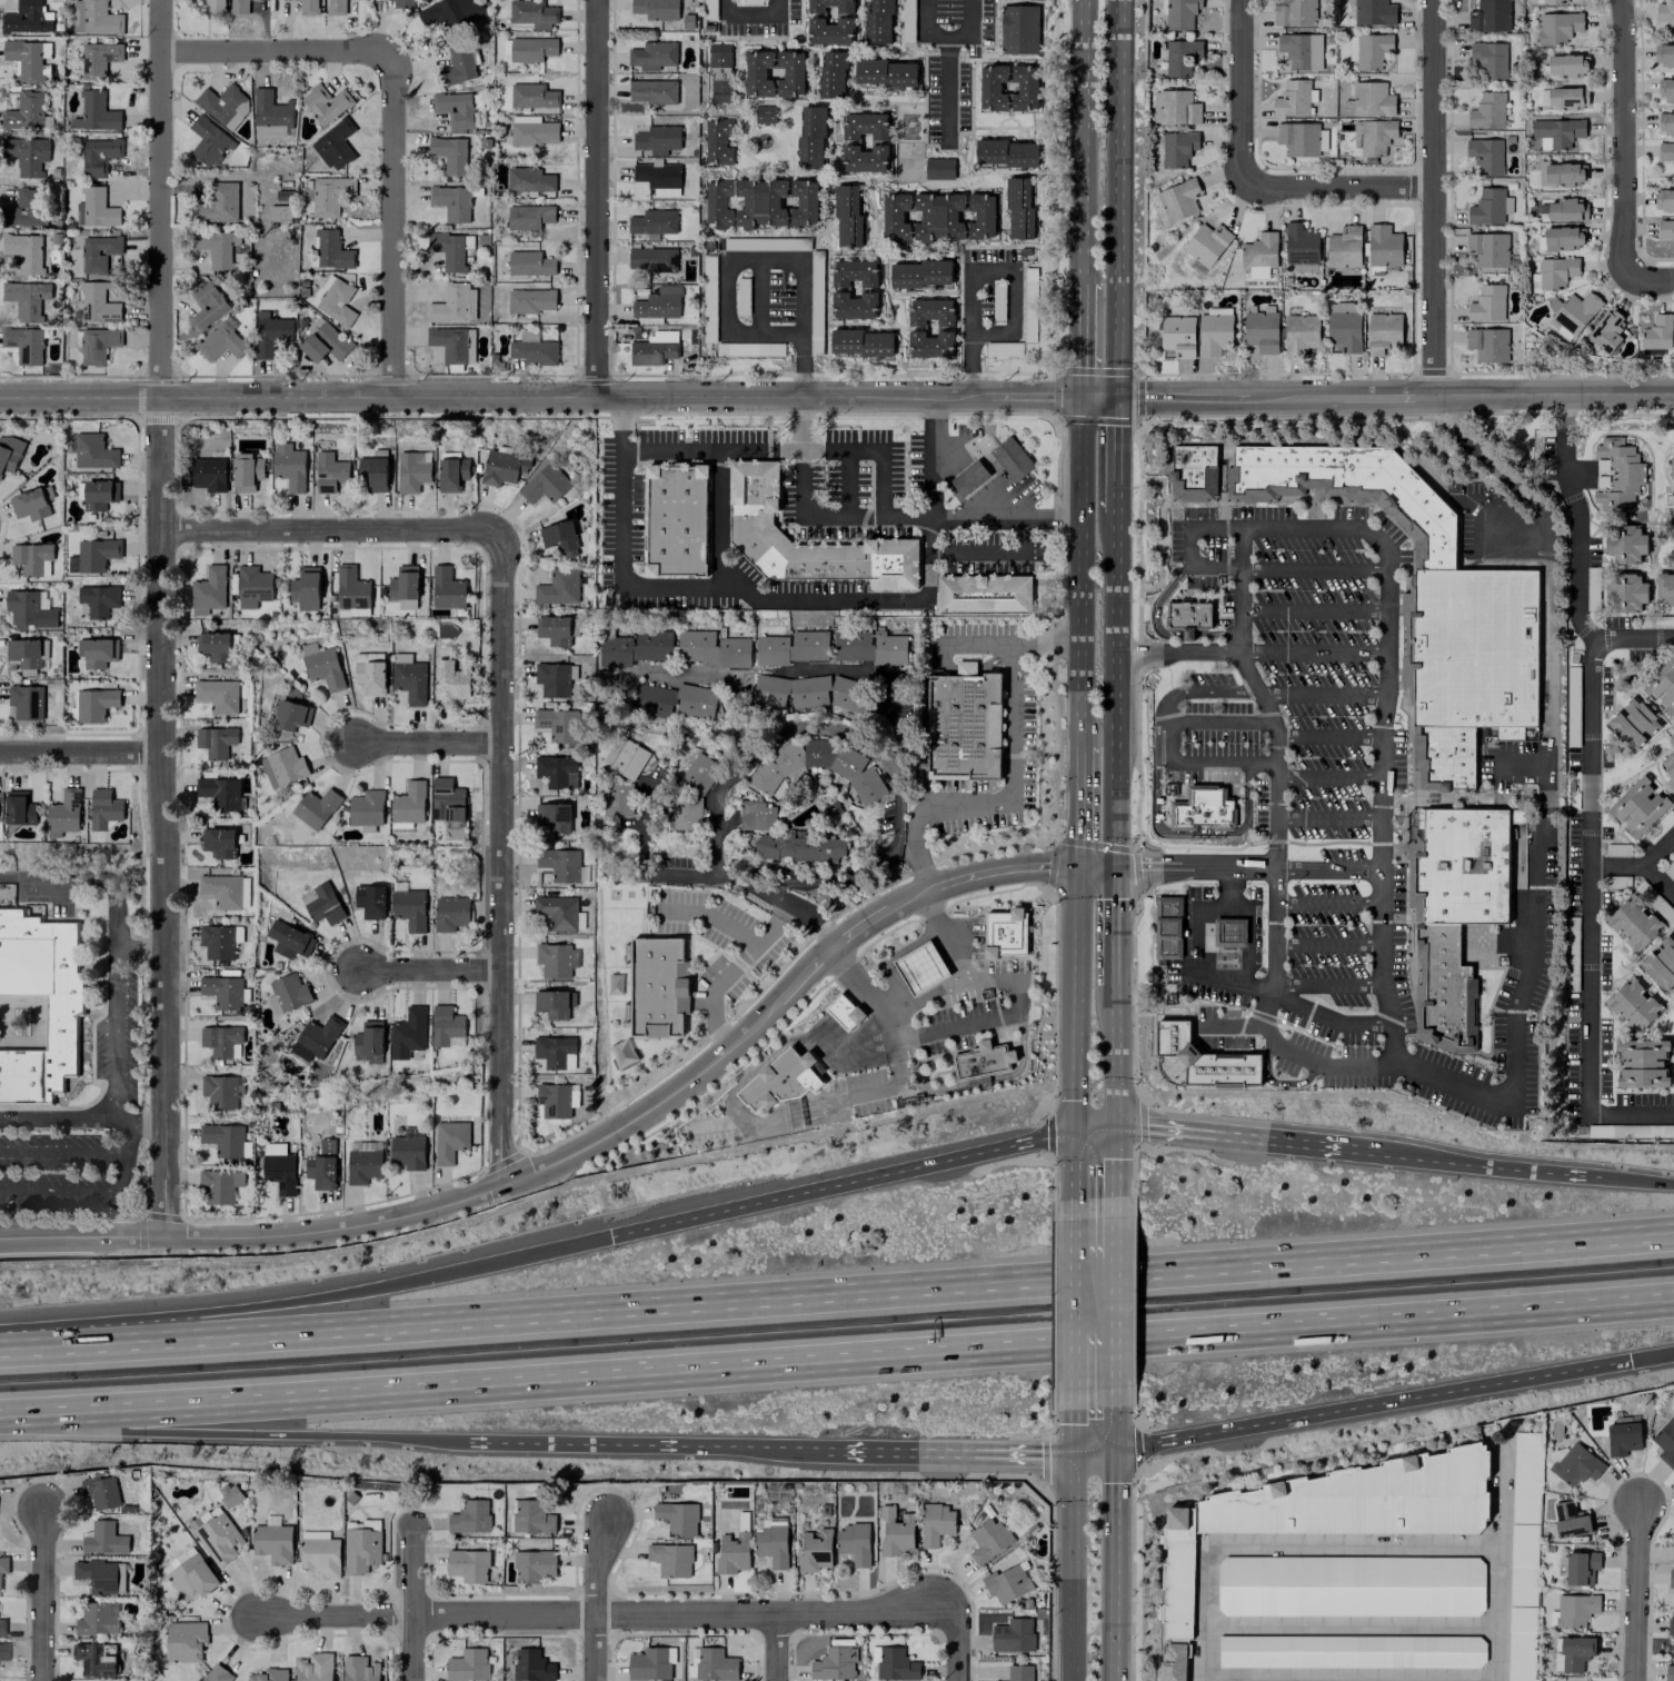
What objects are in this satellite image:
building: (1551, 1)
building: (402, 3)
building: (215, 6)
building: (238, 6)
building: (308, 7)
building: (336, 7)
building: (655, 9)
building: (1294, 12)
building: (1373, 12)
road: (751, 13)
building: (1180, 13)
building: (1665, 13)
building: (451, 14)
building: (531, 14)
building: (1487, 14)
building: (27, 18)
building: (94, 18)
building: (844, 20)
building: (878, 21)
building: (1558, 27)
building: (1018, 29)
road: (947, 33)
building: (1352, 48)
building: (1301, 49)
building: (1372, 49)
road: (277, 52)
building: (1664, 53)
building: (652, 54)
building: (1180, 57)
building: (24, 58)
building: (98, 58)
building: (1488, 58)
building: (457, 64)
building: (1565, 64)
building: (720, 72)
building: (885, 72)
building: (774, 73)
building: (833, 74)
building: (1008, 87)
building: (1665, 88)
building: (652, 91)
road: (946, 91)
road: (1239, 93)
building: (530, 96)
building: (1564, 97)
building: (1294, 98)
building: (1372, 99)
building: (325, 102)
building: (223, 103)
building: (1177, 107)
building: (454, 109)
building: (1487, 110)
building: (23, 111)
building: (96, 112)
building: (1666, 122)
building: (532, 130)
building: (1556, 132)
building: (810, 135)
building: (1375, 136)
building: (1302, 138)
road: (1622, 138)
building: (657, 139)
road: (1082, 140)
building: (208, 141)
building: (717, 141)
building: (878, 143)
building: (335, 145)
building: (1175, 148)
building: (1005, 152)
building: (1666, 152)
building: (26, 153)
building: (449, 153)
building: (1485, 153)
building: (98, 156)
building: (938, 168)
building: (657, 173)
building: (1561, 173)
building: (528, 179)
road: (1338, 186)
building: (329, 195)
road: (1432, 198)
road: (1116, 199)
building: (1178, 199)
building: (1663, 199)
road: (591, 200)
building: (451, 202)
building: (218, 203)
building: (760, 203)
building: (1488, 207)
building: (23, 208)
building: (96, 208)
building: (1020, 208)
building: (1565, 210)
building: (280, 212)
building: (528, 216)
building: (848, 216)
building: (937, 216)
building: (652, 221)
road: (390, 225)
building: (1665, 230)
building: (1561, 238)
building: (1206, 243)
building: (1383, 246)
building: (1301, 247)
building: (1344, 247)
building: (217, 249)
building: (330, 249)
building: (1487, 249)
building: (27, 250)
building: (448, 251)
building: (98, 252)
building: (1259, 255)
building: (651, 259)
road: (759, 261)
building: (529, 263)
road: (976, 271)
building: (1556, 271)
building: (920, 273)
road: (1650, 279)
building: (868, 288)
road: (759, 297)
building: (27, 299)
building: (816, 299)
building: (1029, 299)
building: (337, 300)
building: (530, 300)
building: (97, 304)
building: (449, 304)
building: (1487, 304)
building: (207, 306)
building: (657, 306)
building: (1575, 311)
building: (944, 326)
building: (1261, 330)
building: (1344, 330)
building: (1606, 330)
building: (1301, 332)
building: (1383, 332)
building: (270, 334)
building: (1177, 335)
building: (1213, 335)
building: (1656, 335)
road: (1082, 339)
building: (221, 340)
building: (323, 341)
building: (861, 342)
building: (23, 344)
building: (449, 344)
building: (1487, 344)
building: (97, 345)
building: (654, 348)
building: (534, 351)
road: (1552, 394)
road: (1226, 397)
road: (1384, 397)
traffic signals: (1080, 398)
road: (1098, 398)
traffic signals: (1117, 398)
road: (539, 399)
building: (94, 450)
building: (9, 451)
road: (760, 451)
road: (1115, 454)
building: (1012, 459)
gas station: (1012, 459)
road: (846, 461)
building: (288, 466)
building: (501, 467)
building: (1672, 467)
building: (411, 470)
building: (207, 471)
building: (246, 471)
building: (328, 471)
building: (1192, 471)
building: (371, 473)
building: (1618, 473)
building: (0, 474)
building: (451, 474)
building: (969, 478)
gas station: (969, 478)
building: (544, 484)
building: (1349, 488)
building: (97, 493)
building: (32, 501)
road: (808, 516)
road: (945, 517)
building: (676, 519)
building: (755, 530)
road: (329, 531)
building: (559, 537)
building: (1624, 544)
road: (992, 551)
building: (96, 554)
building: (32, 558)
road: (1195, 569)
road: (1313, 569)
road: (1079, 571)
building: (253, 586)
building: (405, 586)
road: (690, 586)
building: (558, 587)
building: (306, 588)
building: (351, 588)
building: (447, 588)
building: (1664, 588)
building: (209, 590)
building: (1626, 591)
building: (984, 594)
building: (98, 599)
road: (858, 599)
building: (30, 609)
road: (1312, 610)
building: (1189, 615)
road: (162, 617)
building: (1650, 621)
building: (554, 629)
road: (1633, 639)
road: (982, 644)
building: (215, 646)
building: (789, 647)
building: (868, 647)
building: (632, 648)
building: (713, 648)
building: (1472, 648)
building: (97, 651)
road: (1176, 653)
road: (1311, 653)
building: (28, 654)
building: (321, 666)
road: (969, 669)
building: (369, 673)
road: (875, 676)
building: (554, 678)
road: (715, 678)
building: (449, 680)
road: (1384, 686)
building: (1662, 686)
road: (1113, 688)
building: (811, 693)
building: (218, 695)
road: (1322, 695)
building: (675, 700)
building: (26, 702)
building: (94, 704)
building: (290, 715)
building: (964, 723)
building: (1632, 723)
building: (557, 724)
road: (1327, 736)
road: (770, 738)
parking lot: (1222, 738)
building: (216, 740)
road: (1170, 743)
road: (431, 744)
road: (1590, 750)
road: (81, 755)
road: (1276, 756)
building: (1443, 756)
building: (628, 759)
building: (282, 766)
building: (1668, 767)
building: (556, 770)
building: (699, 773)
building: (856, 773)
road: (1012, 774)
road: (1326, 776)
building: (220, 793)
building: (618, 798)
road: (1079, 806)
building: (317, 807)
building: (367, 807)
building: (1636, 807)
building: (19, 808)
building: (104, 808)
parking lot: (1353, 808)
building: (1204, 812)
building: (64, 813)
building: (685, 813)
building: (756, 815)
building: (1515, 816)
building: (552, 817)
road: (1326, 818)
building: (218, 842)
building: (797, 846)
road: (500, 858)
building: (559, 864)
building: (1458, 865)
traffic signals: (1078, 866)
road: (1096, 866)
traffic signals: (1114, 866)
road: (1246, 867)
road: (1617, 867)
road: (1645, 867)
road: (706, 873)
road: (856, 875)
road: (1540, 876)
road: (88, 877)
building: (226, 891)
building: (369, 901)
road: (1325, 903)
building: (322, 904)
building: (408, 908)
building: (449, 913)
building: (559, 913)
road: (709, 916)
building: (1633, 923)
road: (770, 924)
road: (1113, 925)
building: (1168, 928)
gas station: (1168, 928)
building: (1005, 932)
building: (1228, 932)
road: (1248, 932)
building: (289, 939)
building: (219, 941)
road: (1326, 945)
road: (1196, 946)
road: (140, 949)
building: (556, 959)
building: (1660, 963)
building: (921, 968)
gas station: (921, 968)
road: (430, 972)
building: (658, 985)
road: (1018, 985)
road: (1326, 986)
road: (713, 989)
building: (1443, 989)
building: (222, 992)
building: (289, 992)
building: (1673, 993)
road: (923, 998)
building: (554, 1003)
building: (37, 1005)
building: (1633, 1005)
building: (845, 1012)
building: (445, 1025)
road: (1235, 1025)
road: (1075, 1032)
building: (407, 1033)
building: (315, 1037)
road: (890, 1038)
building: (221, 1041)
building: (369, 1041)
building: (554, 1051)
road: (1114, 1057)
road: (1306, 1057)
building: (1205, 1058)
building: (984, 1061)
building: (1642, 1063)
building: (781, 1080)
road: (114, 1094)
building: (556, 1100)
road: (648, 1108)
road: (1631, 1113)
road: (141, 1120)
parking lot: (83, 1130)
traffic signals: (1114, 1130)
road: (1094, 1131)
traffic signals: (1074, 1133)
road: (1239, 1137)
building: (222, 1138)
building: (449, 1140)
building: (408, 1147)
road: (60, 1152)
road: (120, 1154)
building: (362, 1162)
road: (1114, 1162)
building: (321, 1165)
road: (1475, 1166)
building: (278, 1168)
road: (1630, 1181)
building: (219, 1185)
road: (841, 1186)
road: (60, 1188)
road: (1114, 1226)
road: (80, 1236)
traffic signals: (610, 1240)
road: (1073, 1265)
road: (837, 1290)
road: (307, 1302)
road: (1113, 1331)
road: (837, 1357)
traffic signals: (1630, 1361)
road: (1072, 1370)
road: (1393, 1400)
road: (1072, 1430)
road: (222, 1435)
building: (1622, 1438)
building: (1665, 1443)
road: (628, 1444)
traffic signals: (1113, 1448)
road: (1092, 1449)
traffic signals: (1072, 1451)
road: (941, 1452)
building: (1576, 1464)
building: (101, 1492)
building: (228, 1493)
road: (1502, 1499)
building: (1331, 1511)
building: (470, 1516)
building: (531, 1516)
building: (677, 1518)
building: (1568, 1520)
building: (935, 1523)
building: (896, 1533)
building: (216, 1535)
building: (103, 1539)
building: (987, 1540)
building: (271, 1543)
building: (853, 1543)
road: (1112, 1543)
building: (360, 1546)
road: (1348, 1546)
building: (815, 1550)
building: (733, 1552)
building: (1672, 1552)
building: (319, 1553)
building: (670, 1559)
building: (1523, 1559)
building: (3, 1565)
building: (468, 1565)
building: (535, 1565)
road: (1072, 1565)
building: (1577, 1566)
building: (189, 1574)
building: (101, 1575)
building: (1671, 1579)
building: (1006, 1583)
building: (1349, 1585)
road: (1640, 1592)
road: (44, 1594)
road: (597, 1597)
road: (417, 1603)
building: (1575, 1609)
road: (607, 1613)
building: (97, 1619)
road: (1347, 1625)
building: (1, 1627)
building: (1671, 1627)
building: (1013, 1635)
road: (960, 1639)
building: (185, 1641)
road: (777, 1645)
building: (1351, 1651)
building: (1573, 1653)
building: (94, 1659)
building: (1173, 1662)
building: (650, 1663)
building: (834, 1663)
building: (468, 1664)
building: (715, 1664)
building: (895, 1664)
building: (531, 1665)
building: (315, 1667)
building: (359, 1669)
building: (217, 1673)
building: (1668, 1673)
building: (269, 1674)
road: (1309, 1679)

